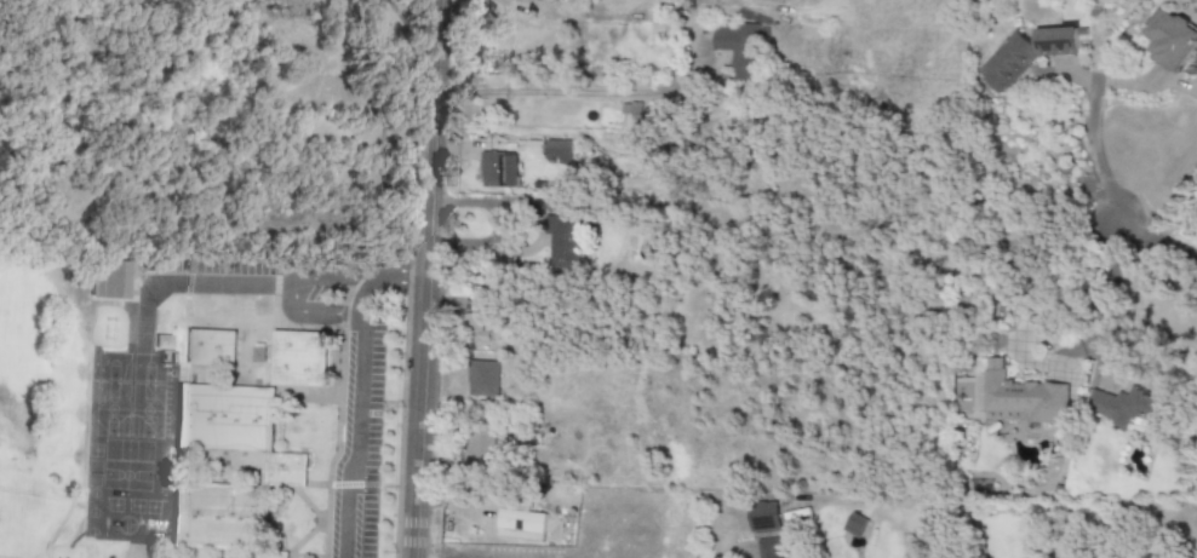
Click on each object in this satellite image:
building: (653, 27)
building: (1169, 40)
building: (740, 47)
building: (1024, 54)
building: (1196, 73)
road: (591, 92)
road: (384, 125)
building: (557, 151)
building: (498, 169)
park: (178, 178)
road: (1109, 190)
building: (563, 243)
road: (425, 278)
building: (108, 280)
road: (216, 282)
road: (1106, 286)
road: (292, 289)
building: (472, 328)
building: (210, 347)
building: (258, 355)
building: (298, 358)
building: (482, 379)
road: (355, 389)
building: (1018, 397)
building: (1127, 410)
building: (480, 451)
building: (283, 468)
building: (763, 516)
building: (520, 525)
building: (854, 525)
building: (768, 548)

